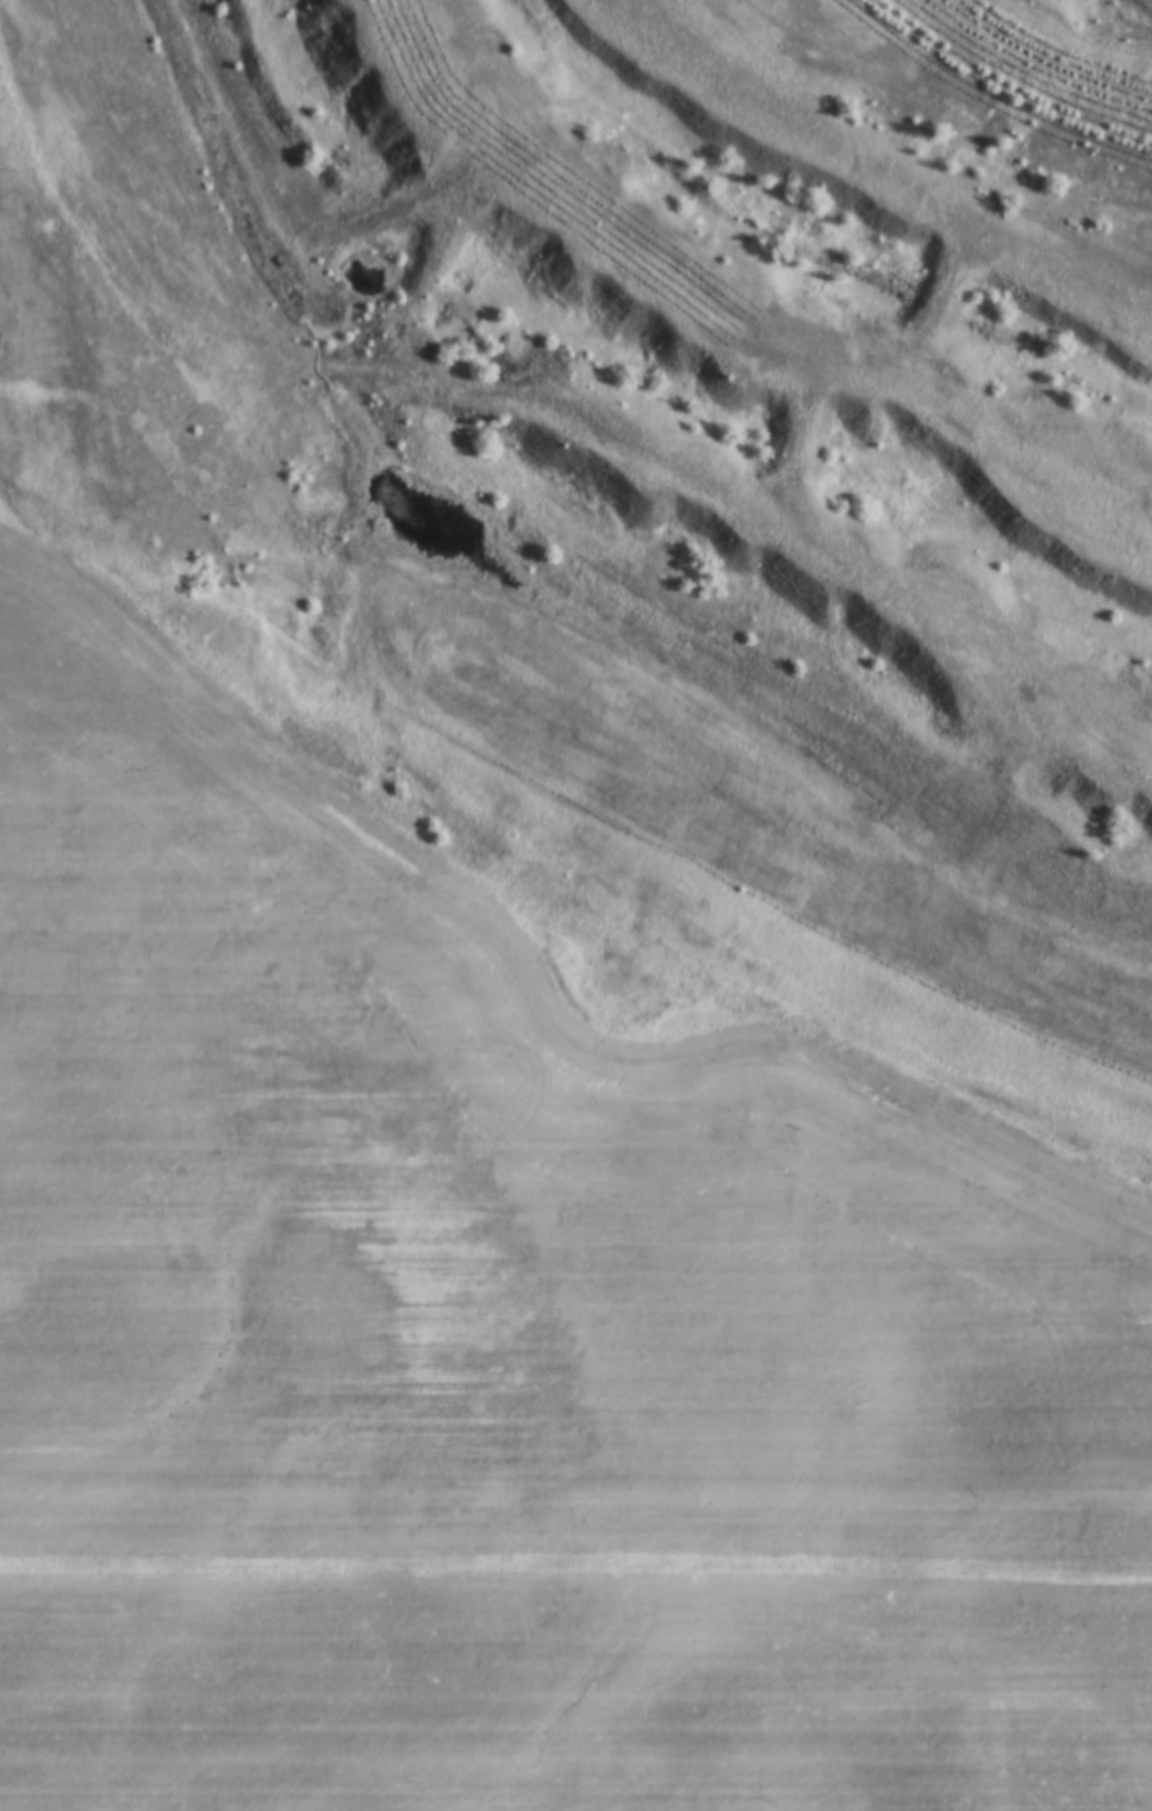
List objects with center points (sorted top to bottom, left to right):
road: (118, 287)
quarry: (643, 485)

